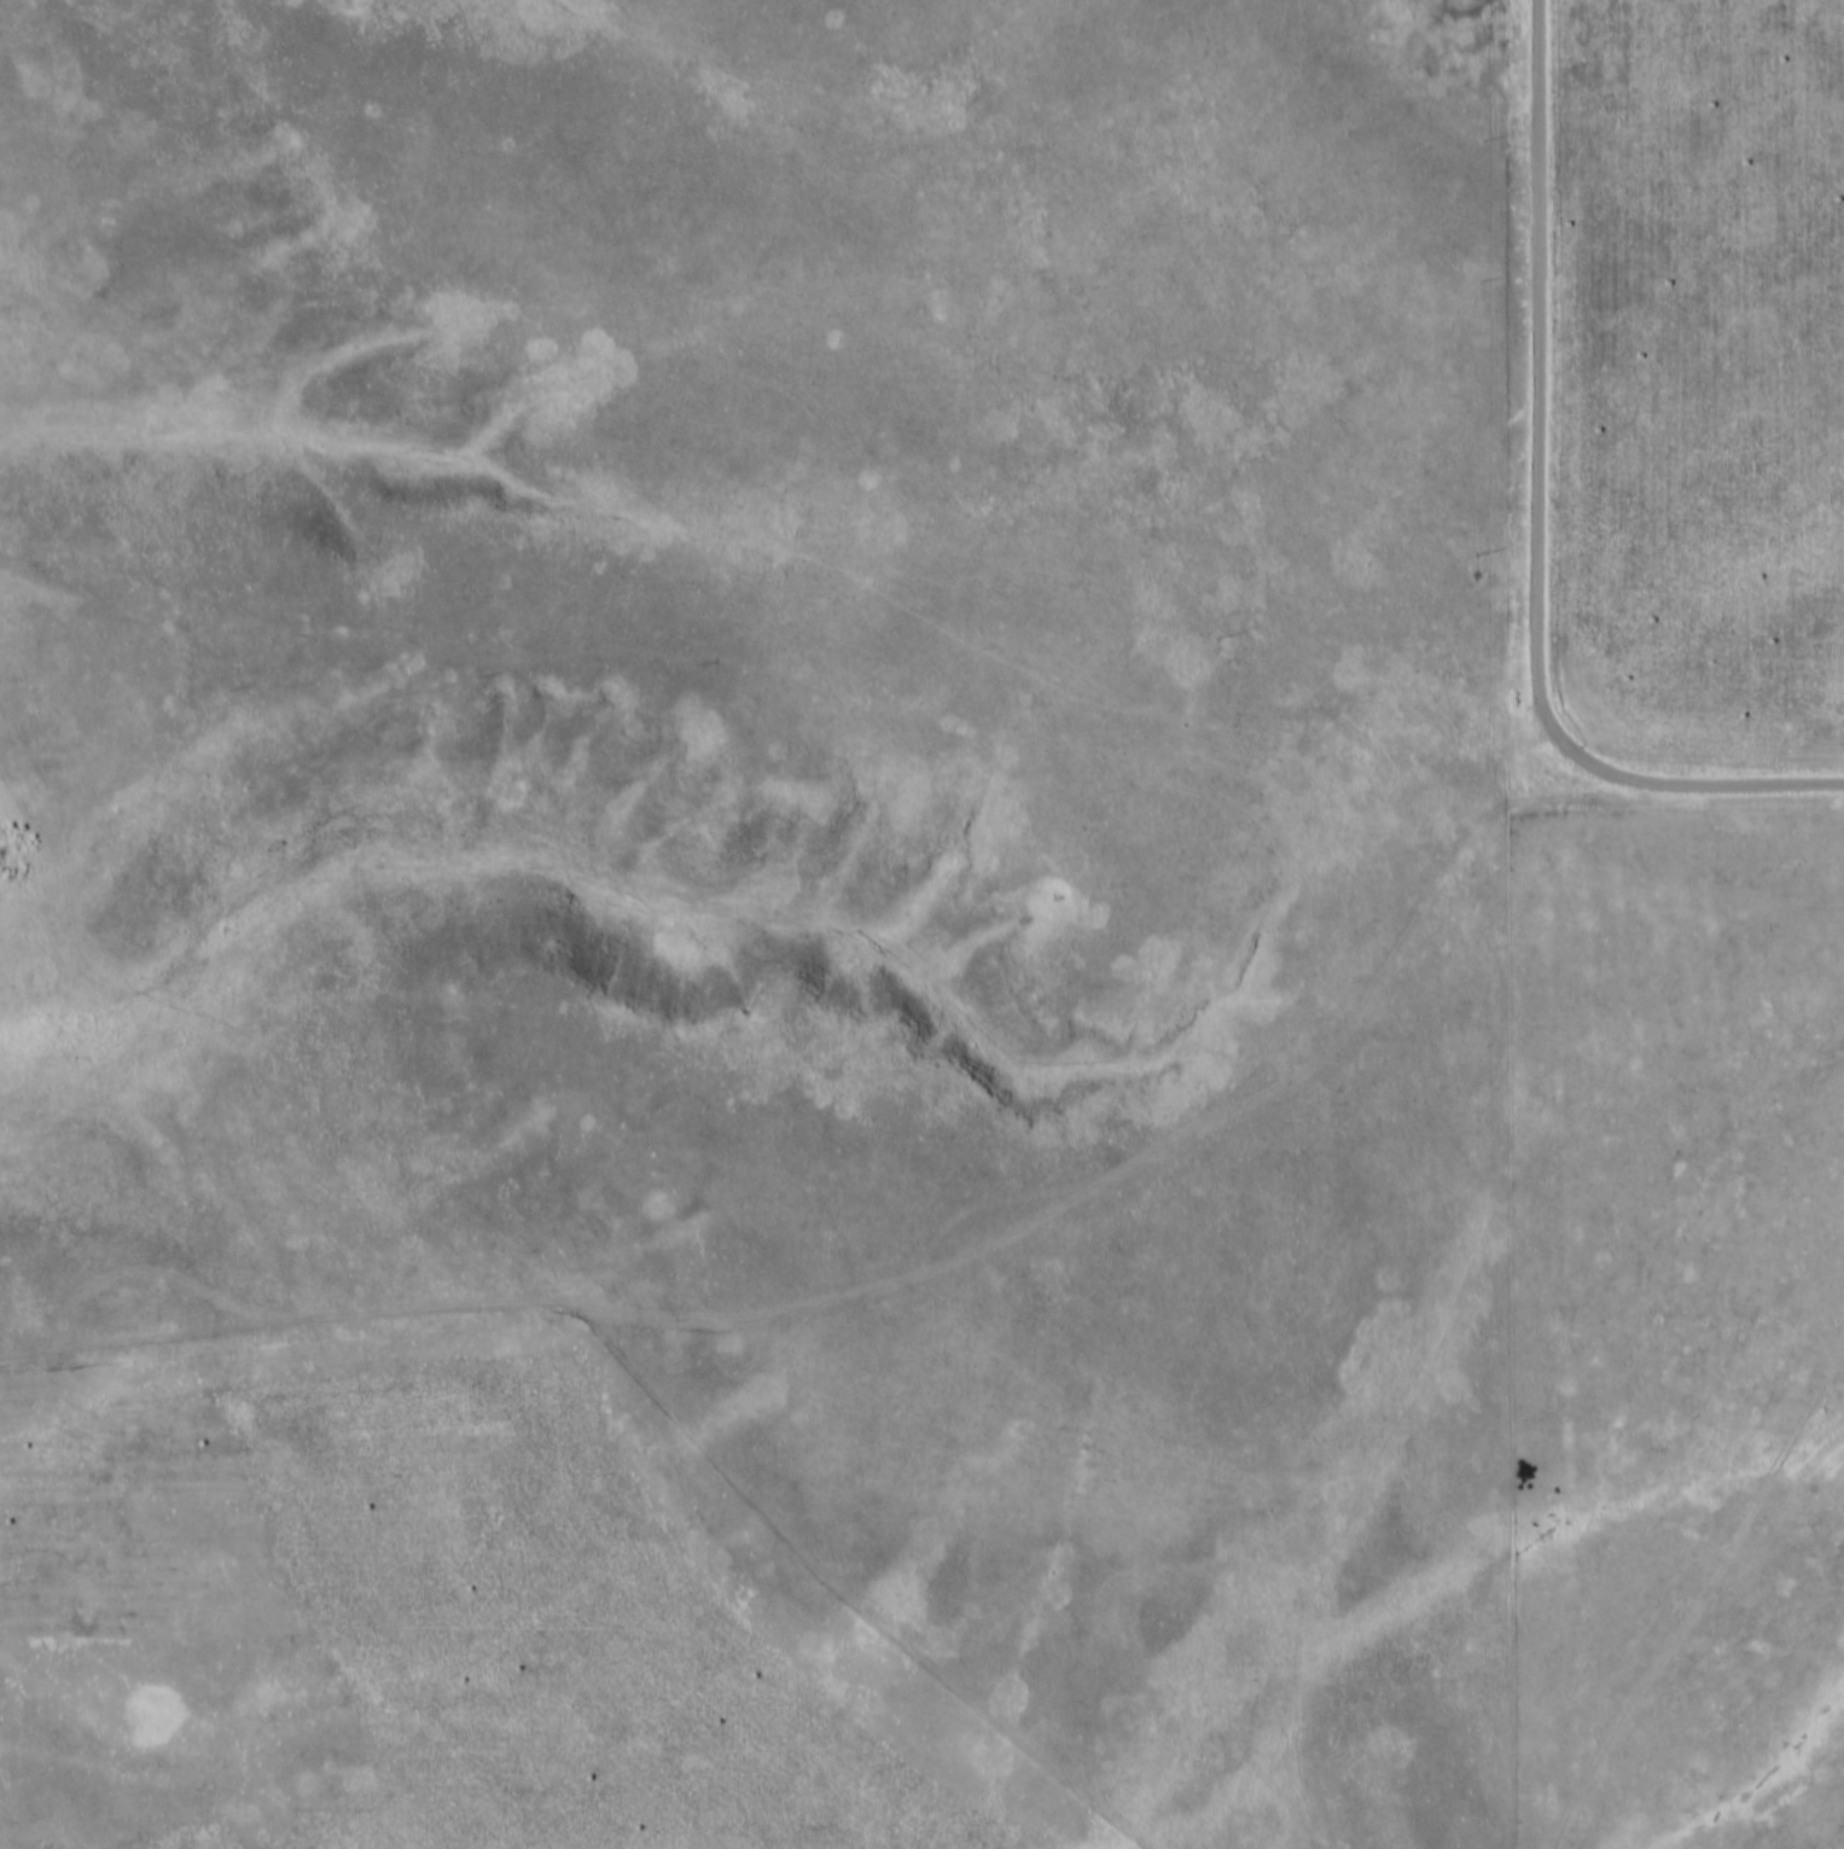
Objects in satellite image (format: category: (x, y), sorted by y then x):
road: (1538, 516)

